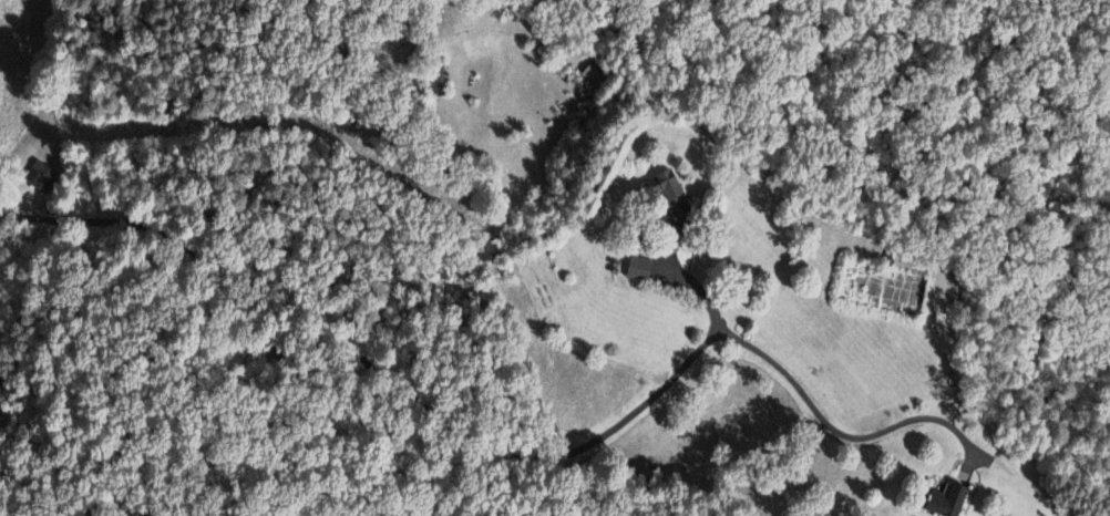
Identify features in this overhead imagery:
building: (593, 74)
building: (675, 193)
building: (645, 269)
road: (373, 371)
road: (837, 433)
building: (956, 502)

